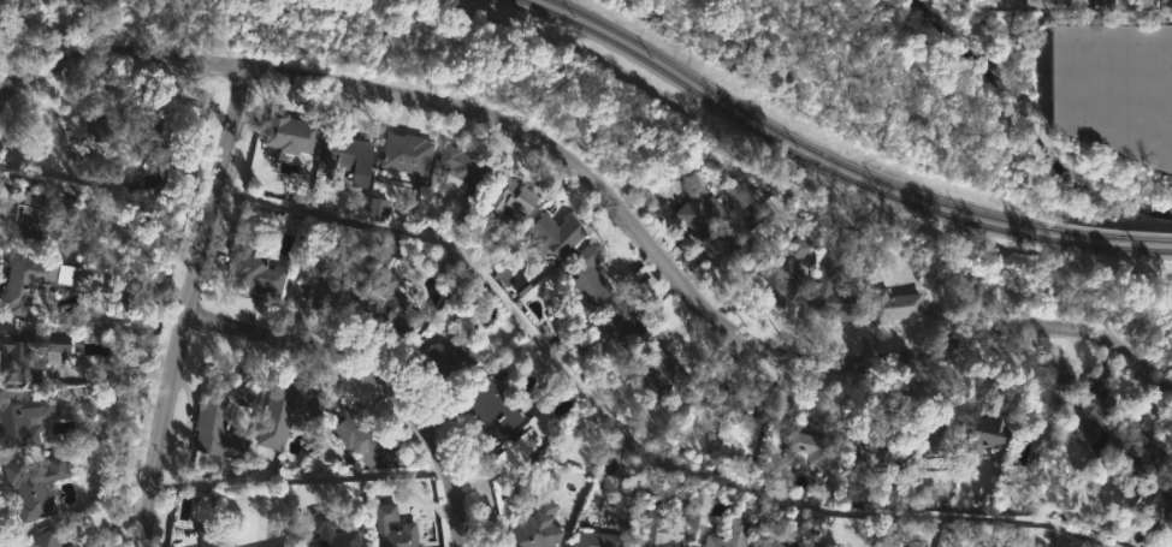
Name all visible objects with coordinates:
building: (987, 2)
building: (1030, 4)
building: (1100, 5)
park: (492, 78)
park: (880, 88)
building: (1114, 88)
building: (123, 118)
building: (288, 132)
building: (349, 155)
building: (402, 155)
building: (460, 165)
railway: (844, 165)
railway: (829, 170)
building: (734, 189)
building: (509, 195)
road: (606, 200)
building: (377, 208)
building: (695, 213)
building: (25, 216)
building: (552, 233)
building: (730, 246)
building: (254, 273)
building: (584, 273)
building: (781, 274)
building: (22, 283)
building: (322, 286)
park: (1044, 292)
building: (830, 297)
building: (391, 303)
road: (185, 305)
building: (892, 305)
building: (616, 321)
building: (18, 355)
building: (444, 362)
road: (374, 375)
building: (662, 375)
building: (1047, 385)
building: (489, 410)
building: (1091, 411)
building: (280, 412)
building: (215, 418)
building: (23, 420)
building: (738, 429)
building: (982, 432)
building: (359, 438)
building: (934, 438)
road: (626, 439)
building: (809, 441)
building: (1135, 446)
building: (878, 448)
building: (508, 462)
building: (31, 487)
building: (622, 510)
building: (1155, 510)
building: (534, 527)
building: (391, 529)
building: (656, 530)
building: (330, 531)
building: (207, 535)
building: (728, 535)
building: (40, 540)
building: (594, 540)
building: (73, 543)
building: (769, 543)
building: (280, 546)
building: (823, 546)
building: (887, 546)

